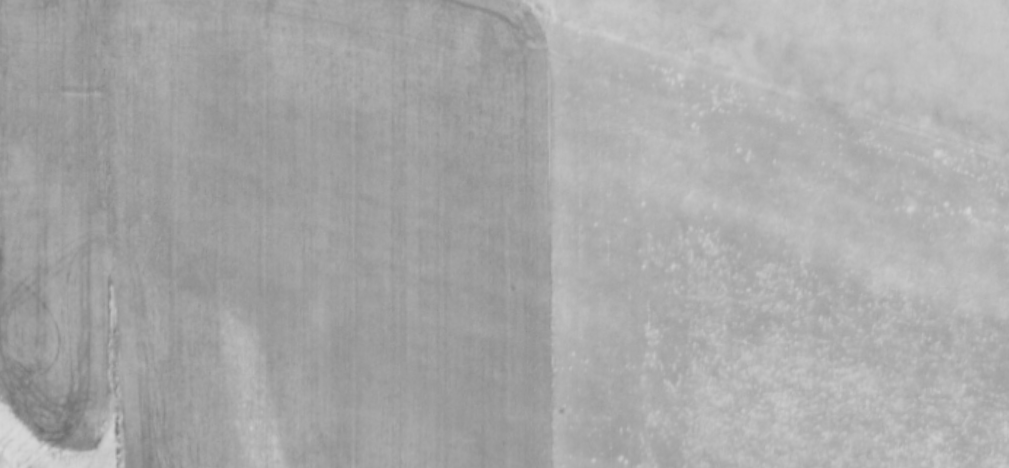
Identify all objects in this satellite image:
quarry: (1008, 0)

